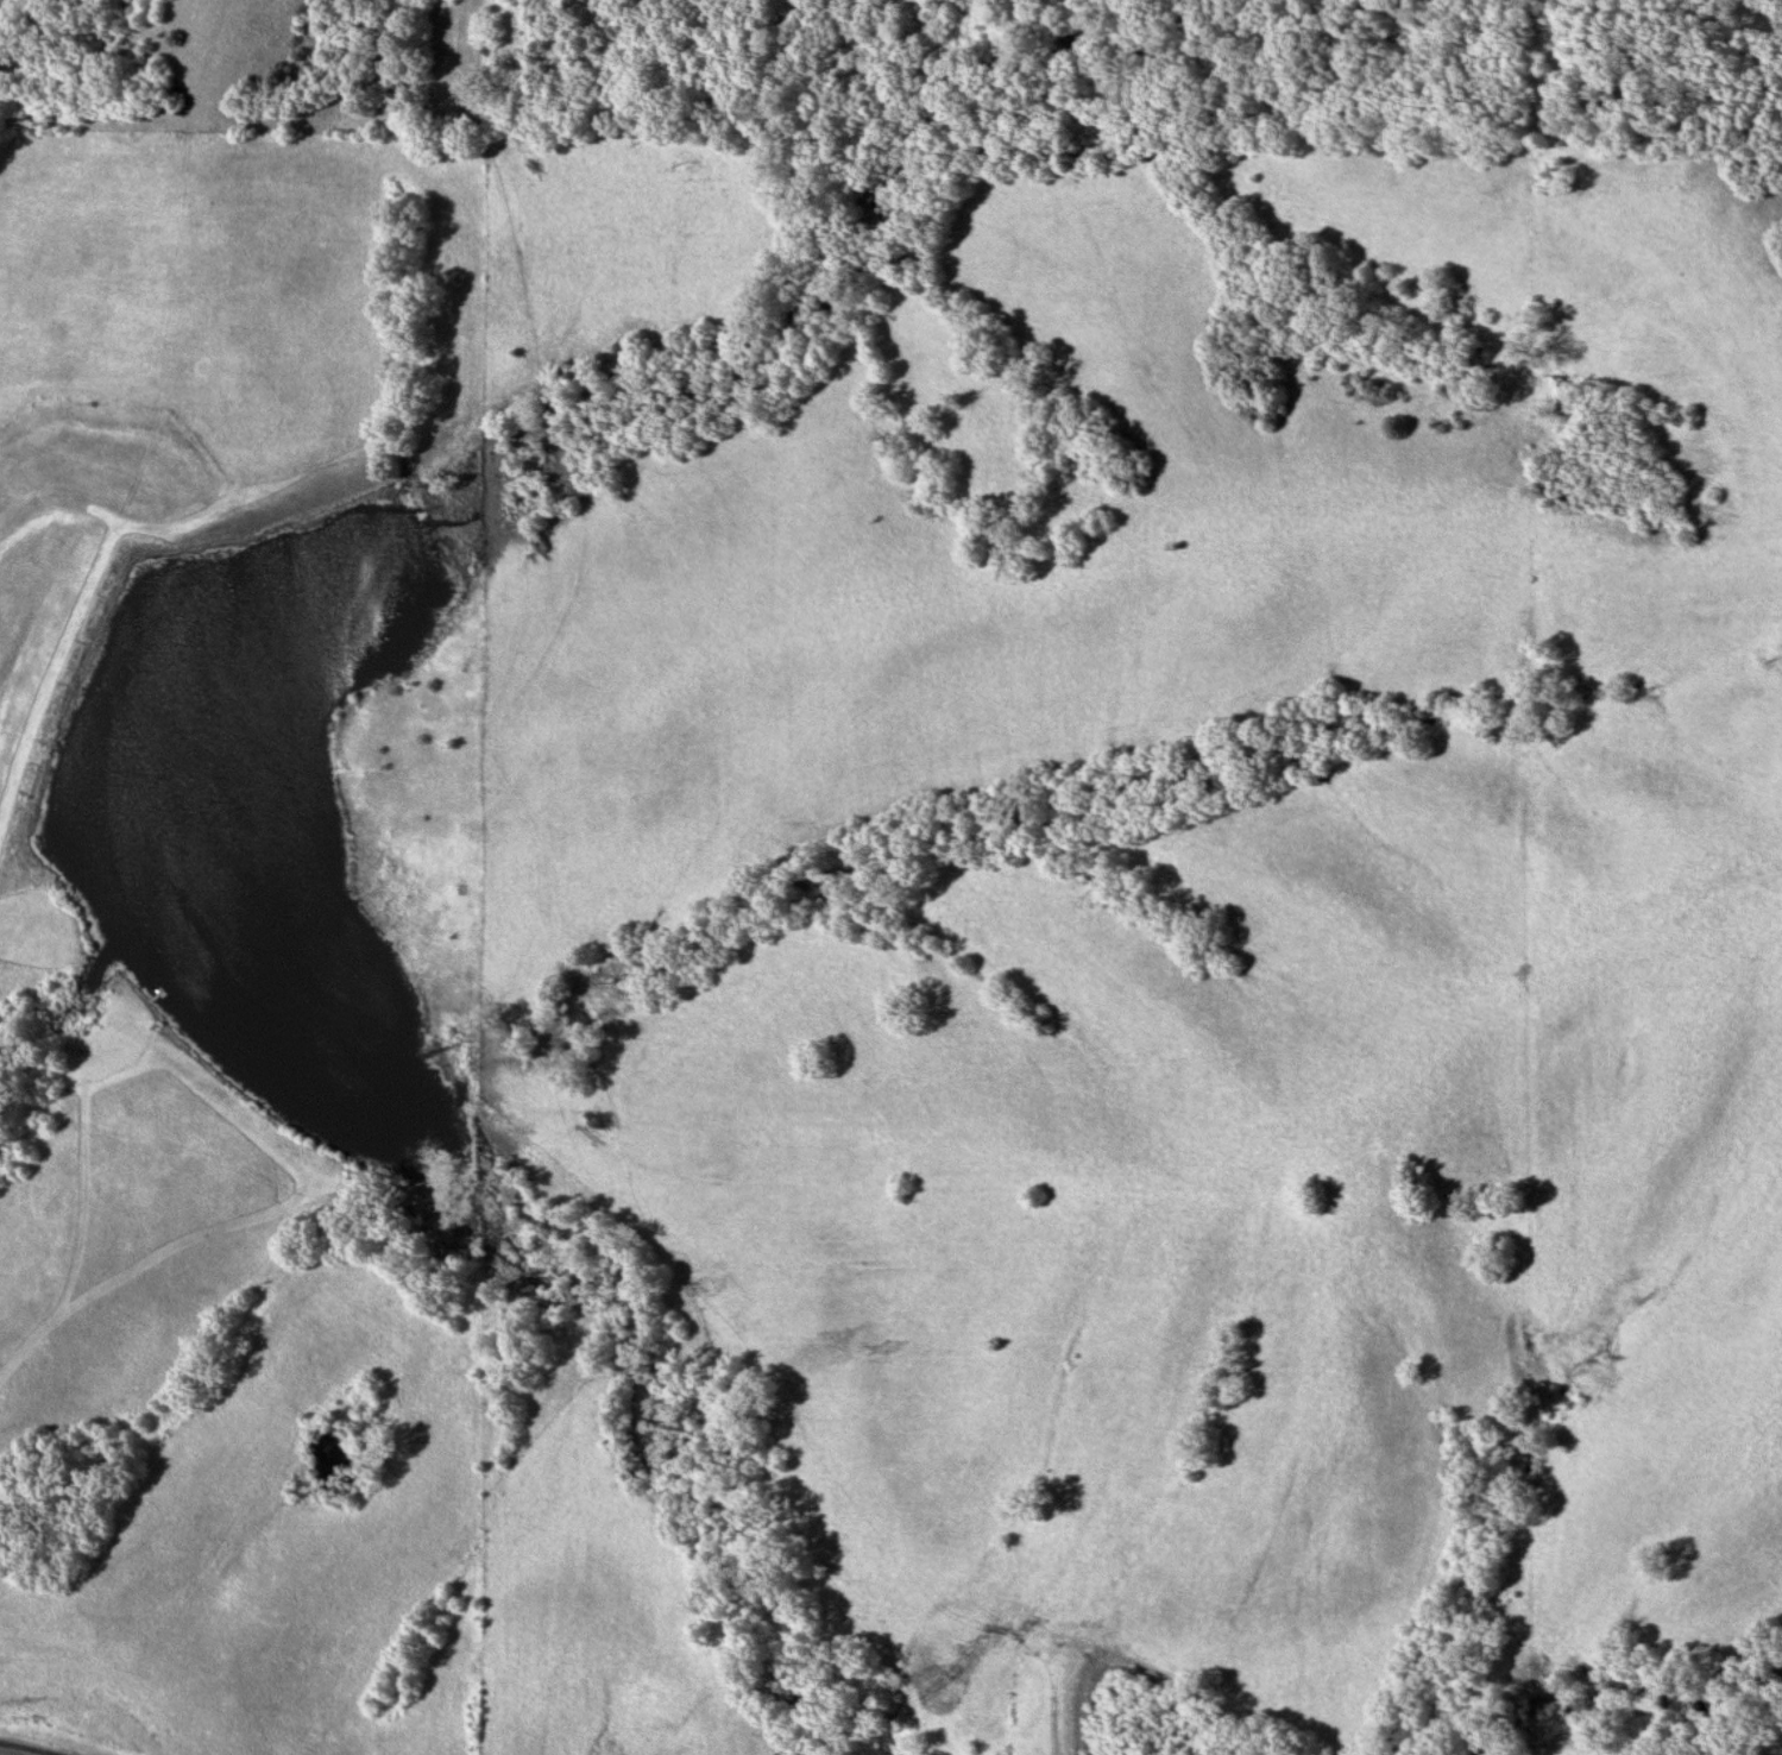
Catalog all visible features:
road: (15, 1751)

